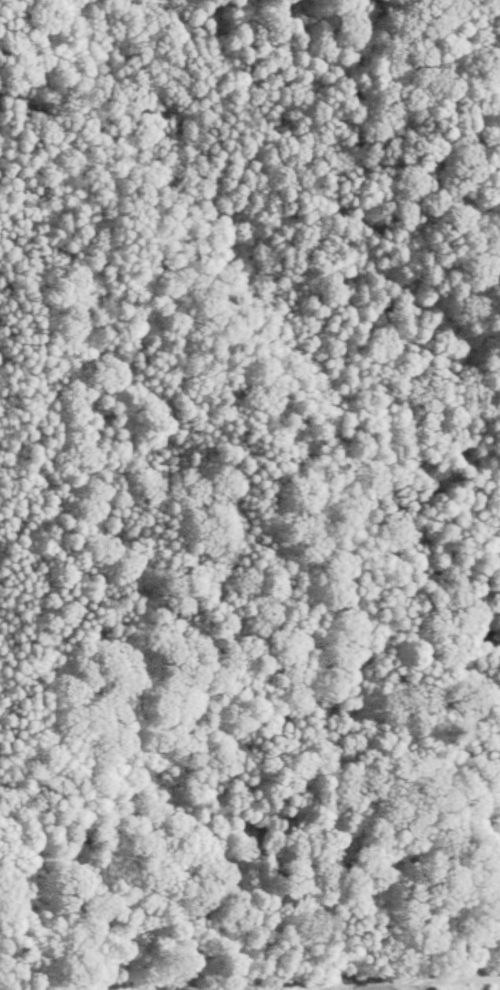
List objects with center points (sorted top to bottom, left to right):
road: (30, 971)
road: (30, 982)
road: (280, 982)

